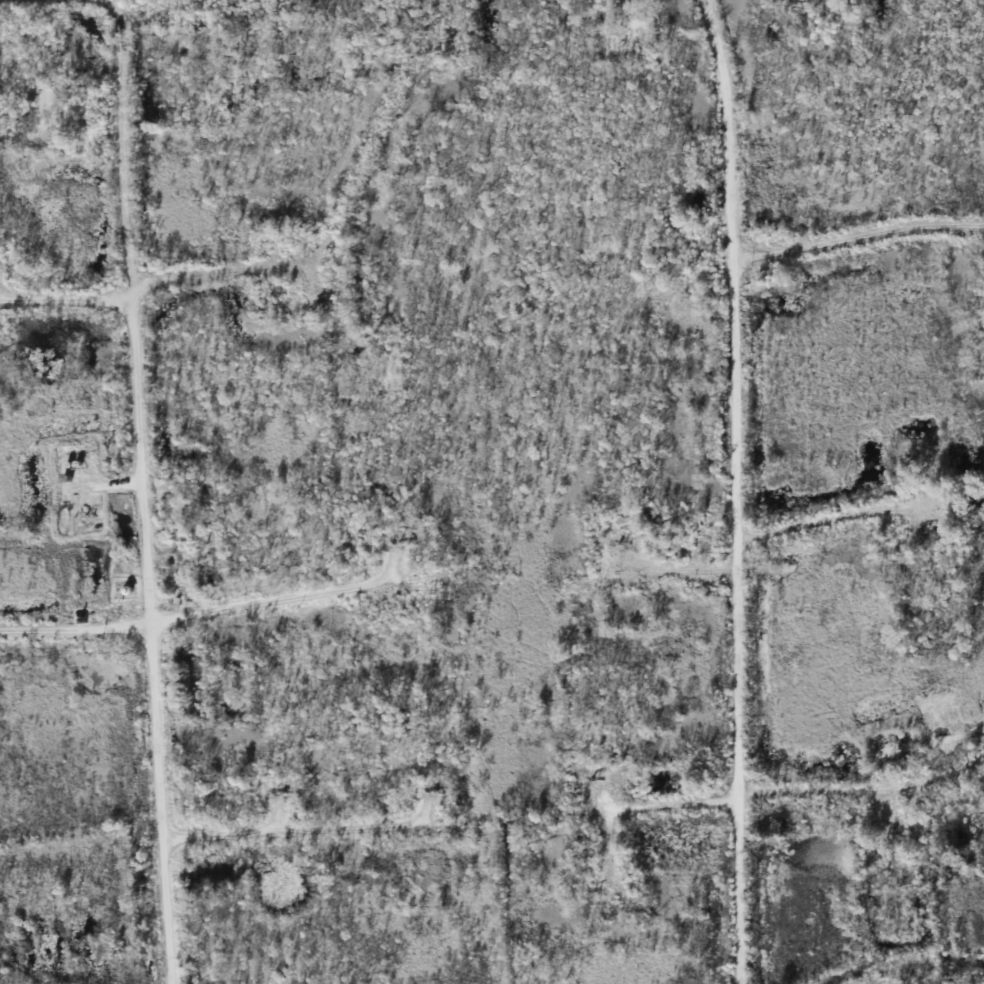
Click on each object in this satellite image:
road: (862, 234)
road: (254, 250)
building: (67, 478)
road: (150, 490)
road: (744, 490)
building: (68, 494)
road: (834, 519)
road: (202, 622)
road: (772, 797)
road: (283, 835)

